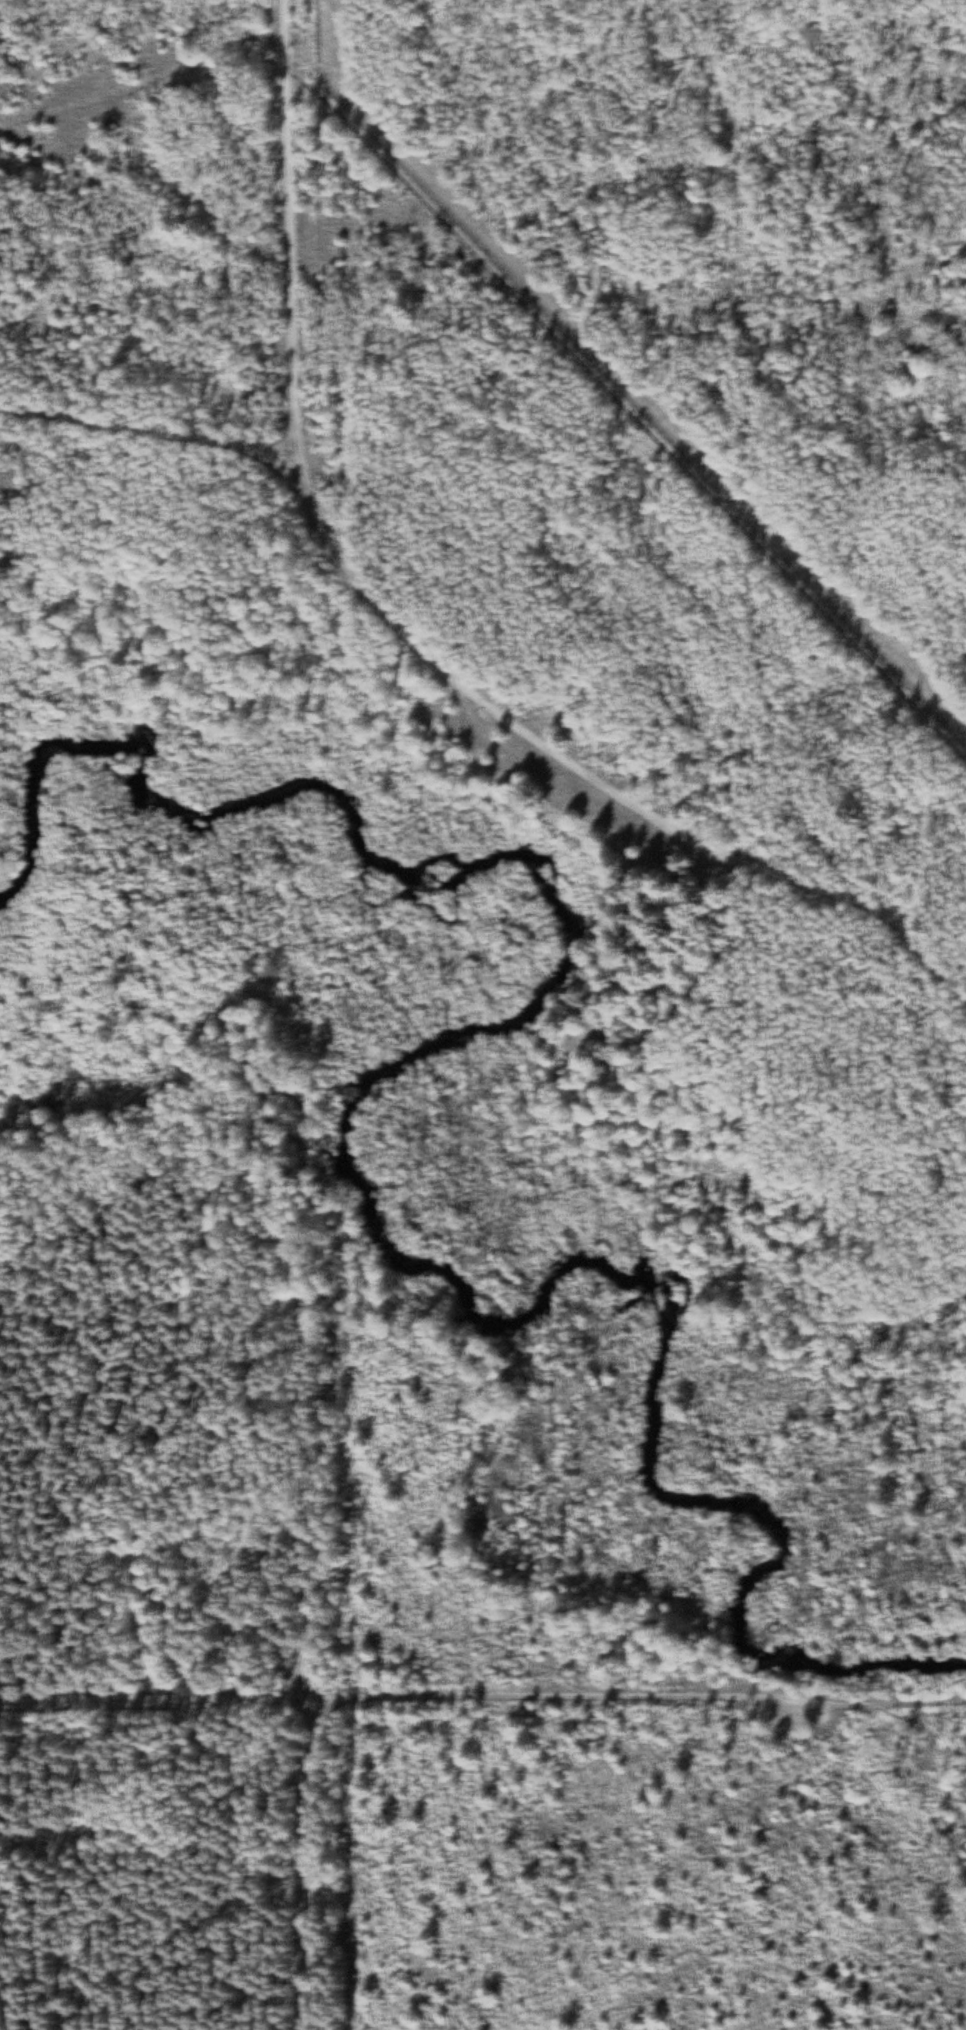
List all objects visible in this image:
road: (289, 231)
airport: (729, 251)
road: (150, 433)
road: (586, 783)
road: (271, 1088)
river: (341, 1138)
road: (309, 1590)
road: (616, 1698)
road: (156, 1703)
road: (943, 1705)

